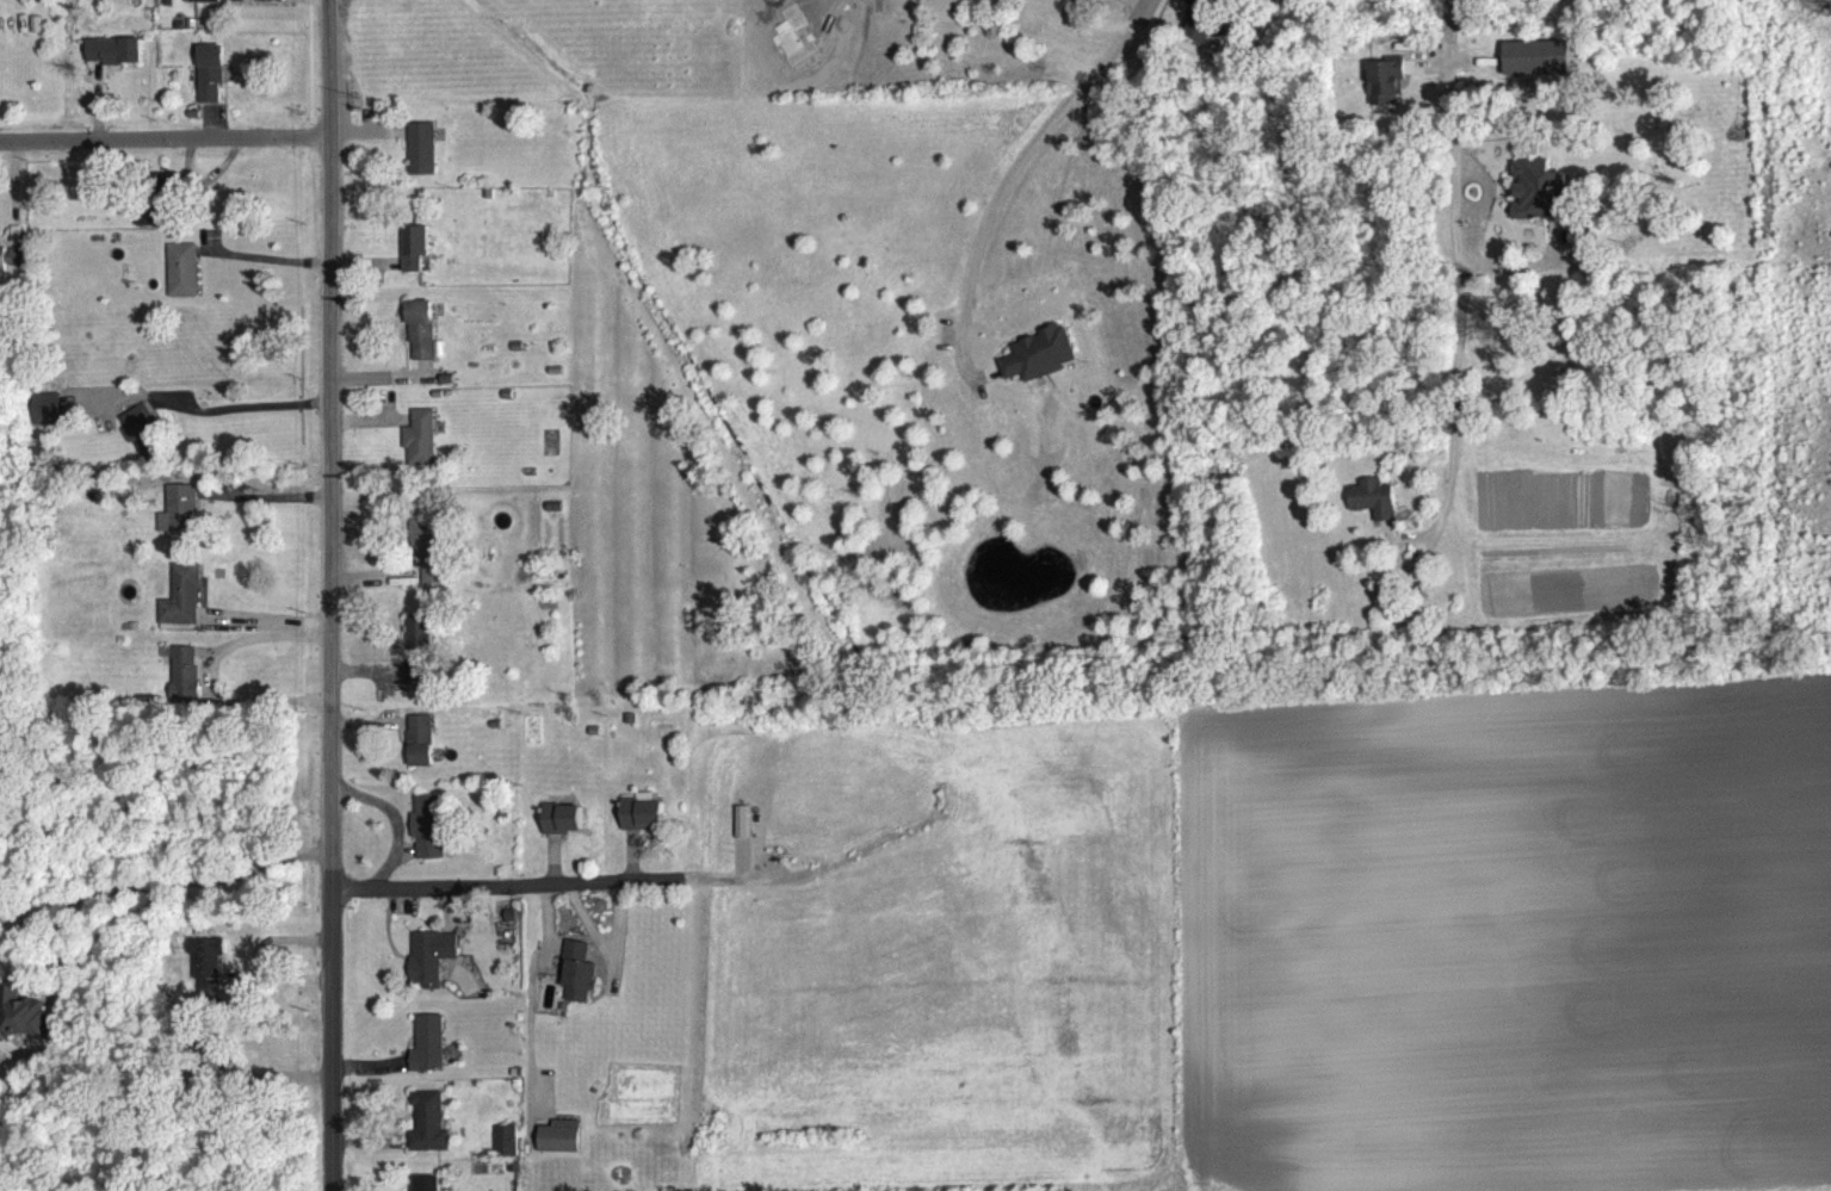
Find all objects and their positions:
building: (1100, 1)
building: (938, 5)
road: (1151, 6)
building: (203, 7)
building: (1202, 41)
building: (113, 63)
building: (1536, 70)
building: (210, 85)
building: (1385, 93)
road: (163, 137)
building: (420, 161)
road: (1012, 190)
building: (1542, 204)
building: (151, 229)
building: (413, 260)
road: (1455, 263)
building: (13, 268)
building: (181, 283)
building: (421, 342)
building: (1040, 367)
building: (47, 422)
road: (215, 424)
building: (142, 446)
building: (421, 451)
road: (268, 510)
building: (1373, 511)
building: (178, 525)
building: (428, 560)
road: (329, 595)
building: (181, 609)
road: (267, 618)
road: (256, 638)
building: (420, 662)
building: (184, 683)
building: (420, 753)
building: (642, 826)
building: (562, 831)
building: (428, 839)
road: (692, 875)
road: (156, 881)
road: (476, 883)
road: (620, 889)
building: (431, 968)
building: (206, 979)
building: (579, 986)
building: (19, 1025)
building: (428, 1056)
building: (428, 1135)
building: (559, 1149)
building: (505, 1154)
building: (427, 1190)

